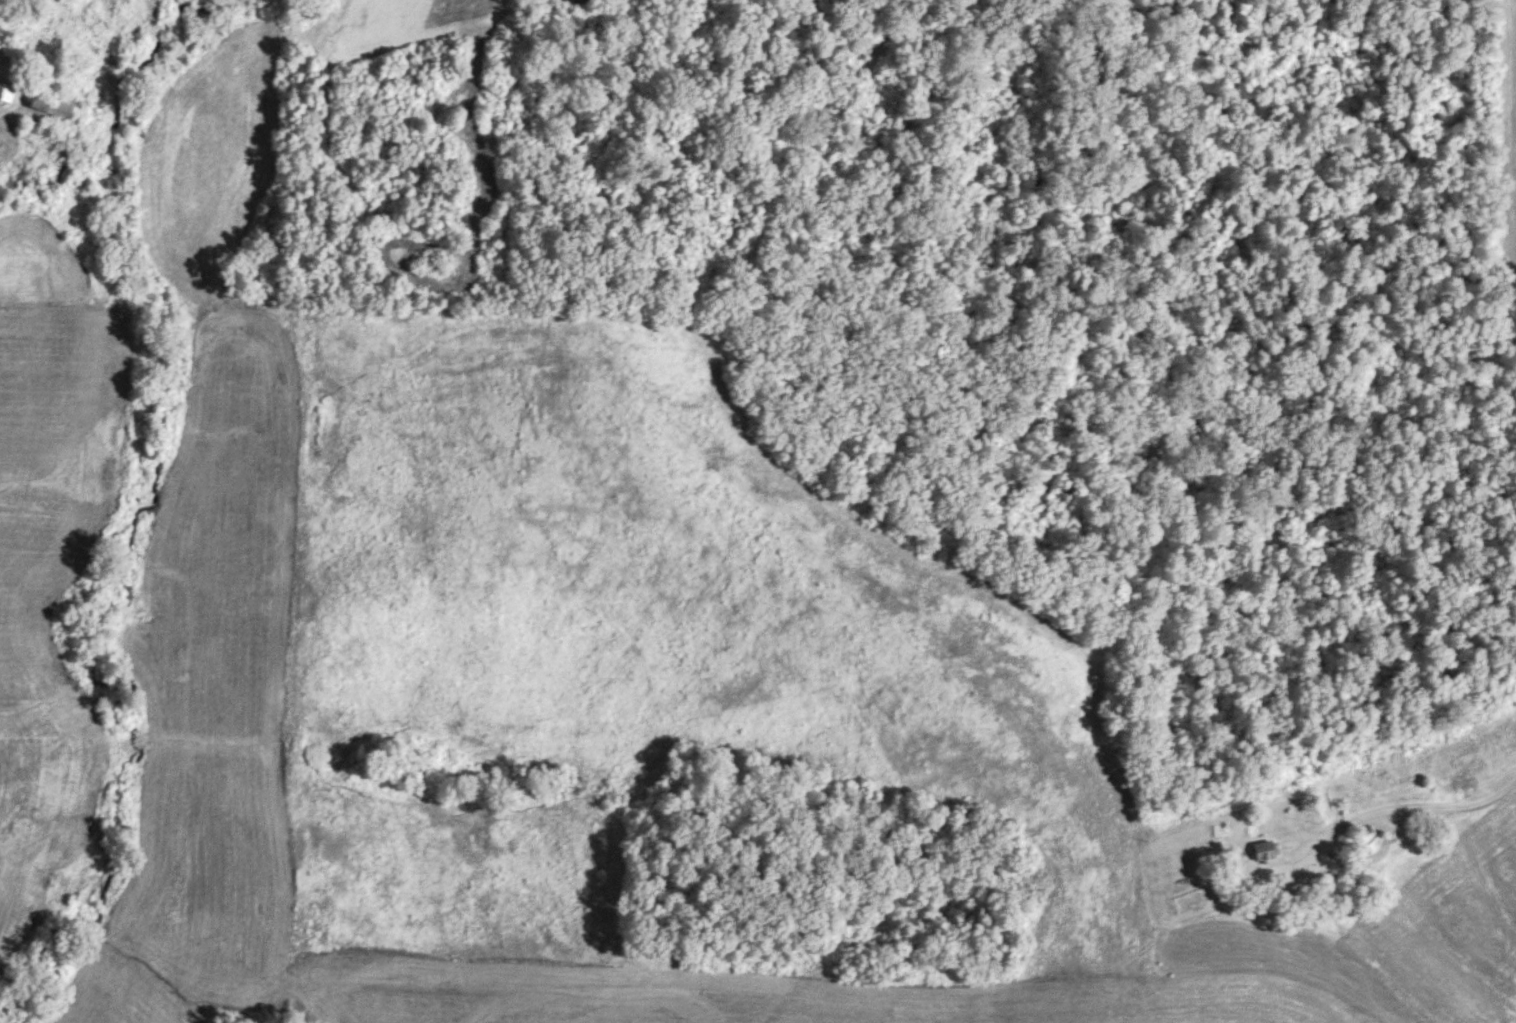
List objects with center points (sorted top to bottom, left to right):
building: (5, 93)
building: (50, 104)
building: (33, 128)
crop: (1502, 132)
crop: (51, 555)
road: (1421, 804)
building: (1262, 850)

